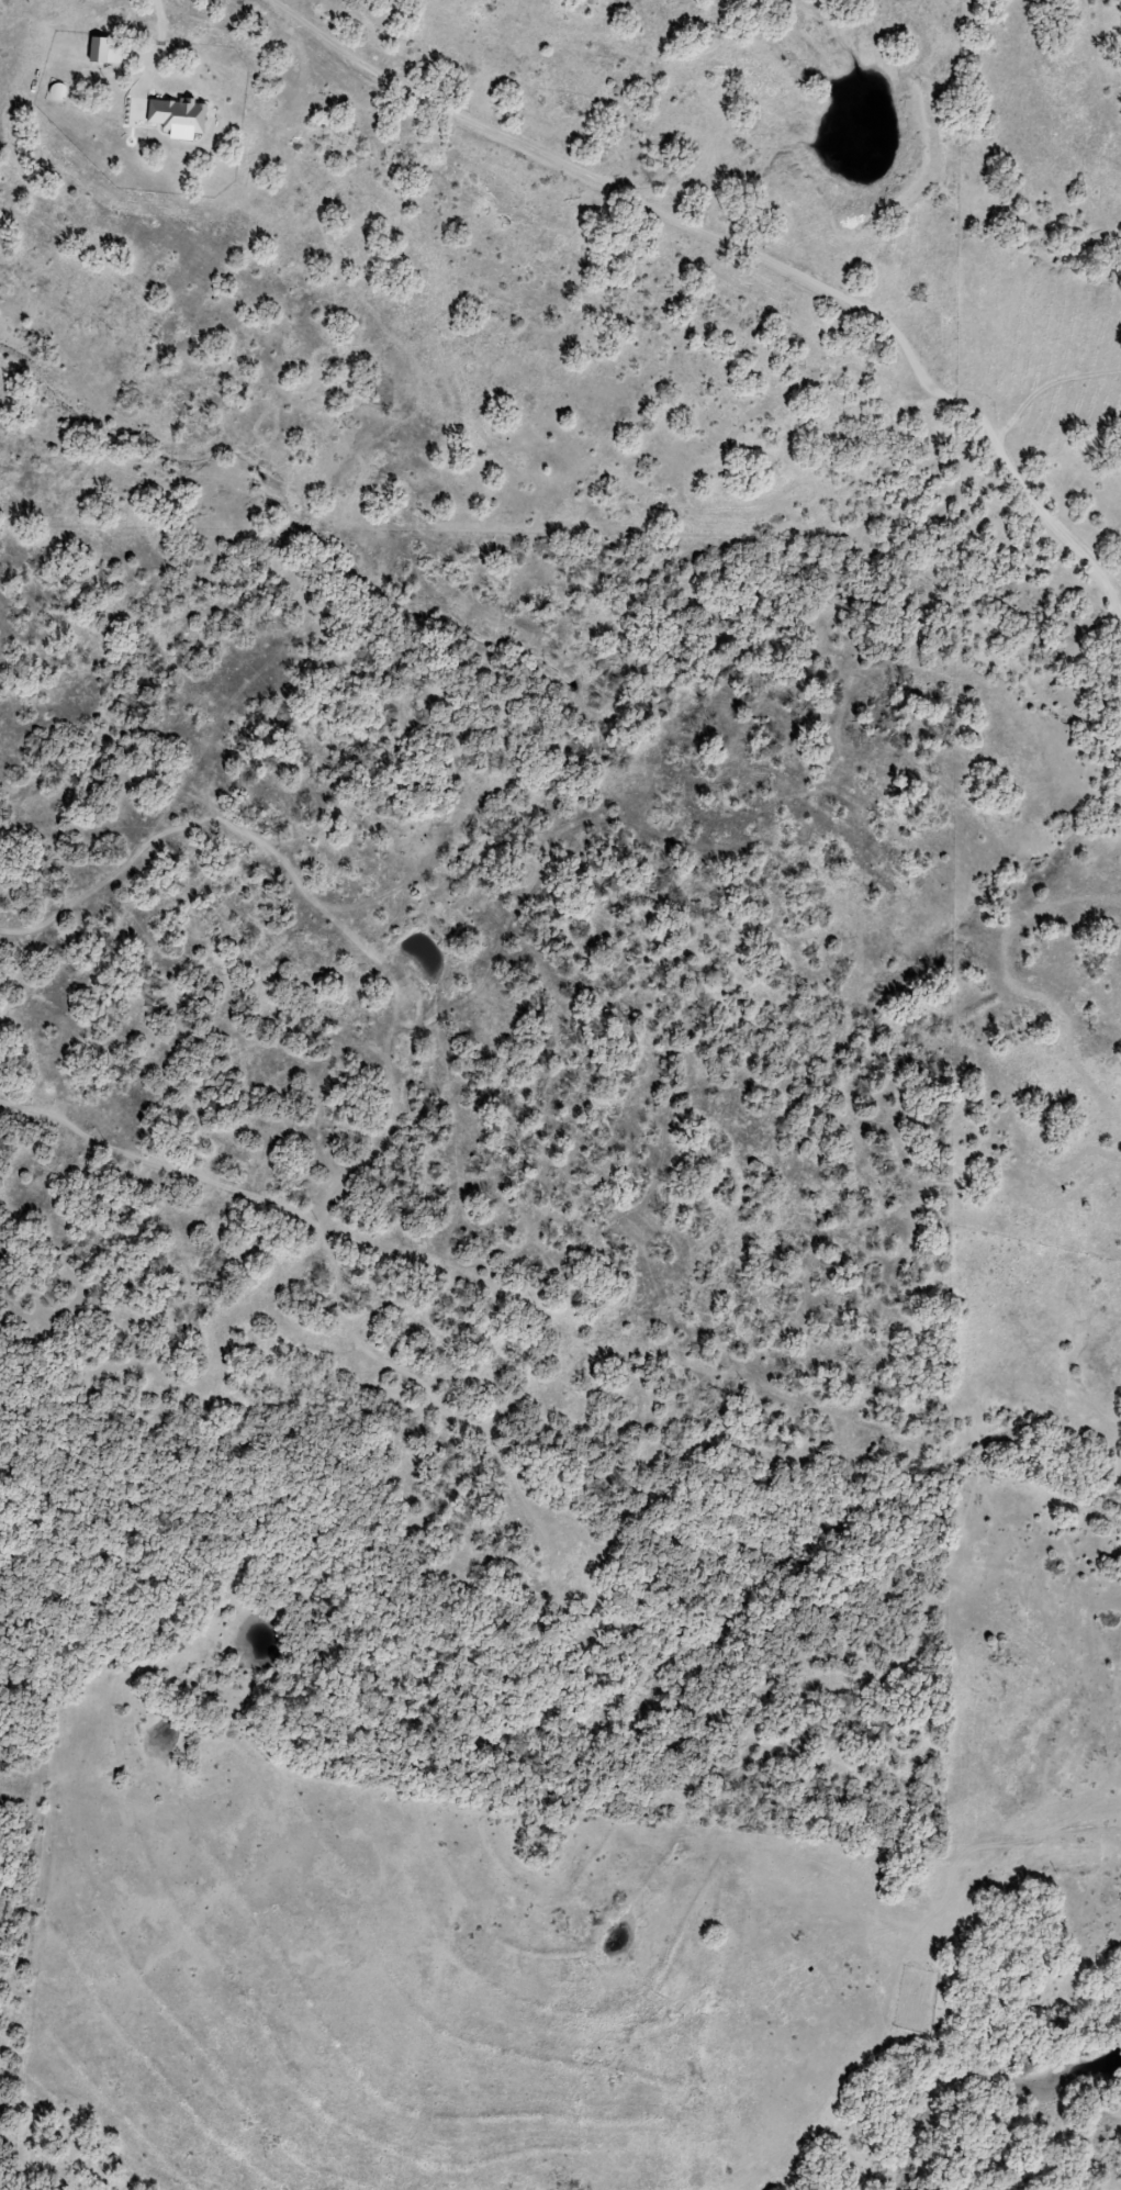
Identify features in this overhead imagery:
road: (742, 246)

